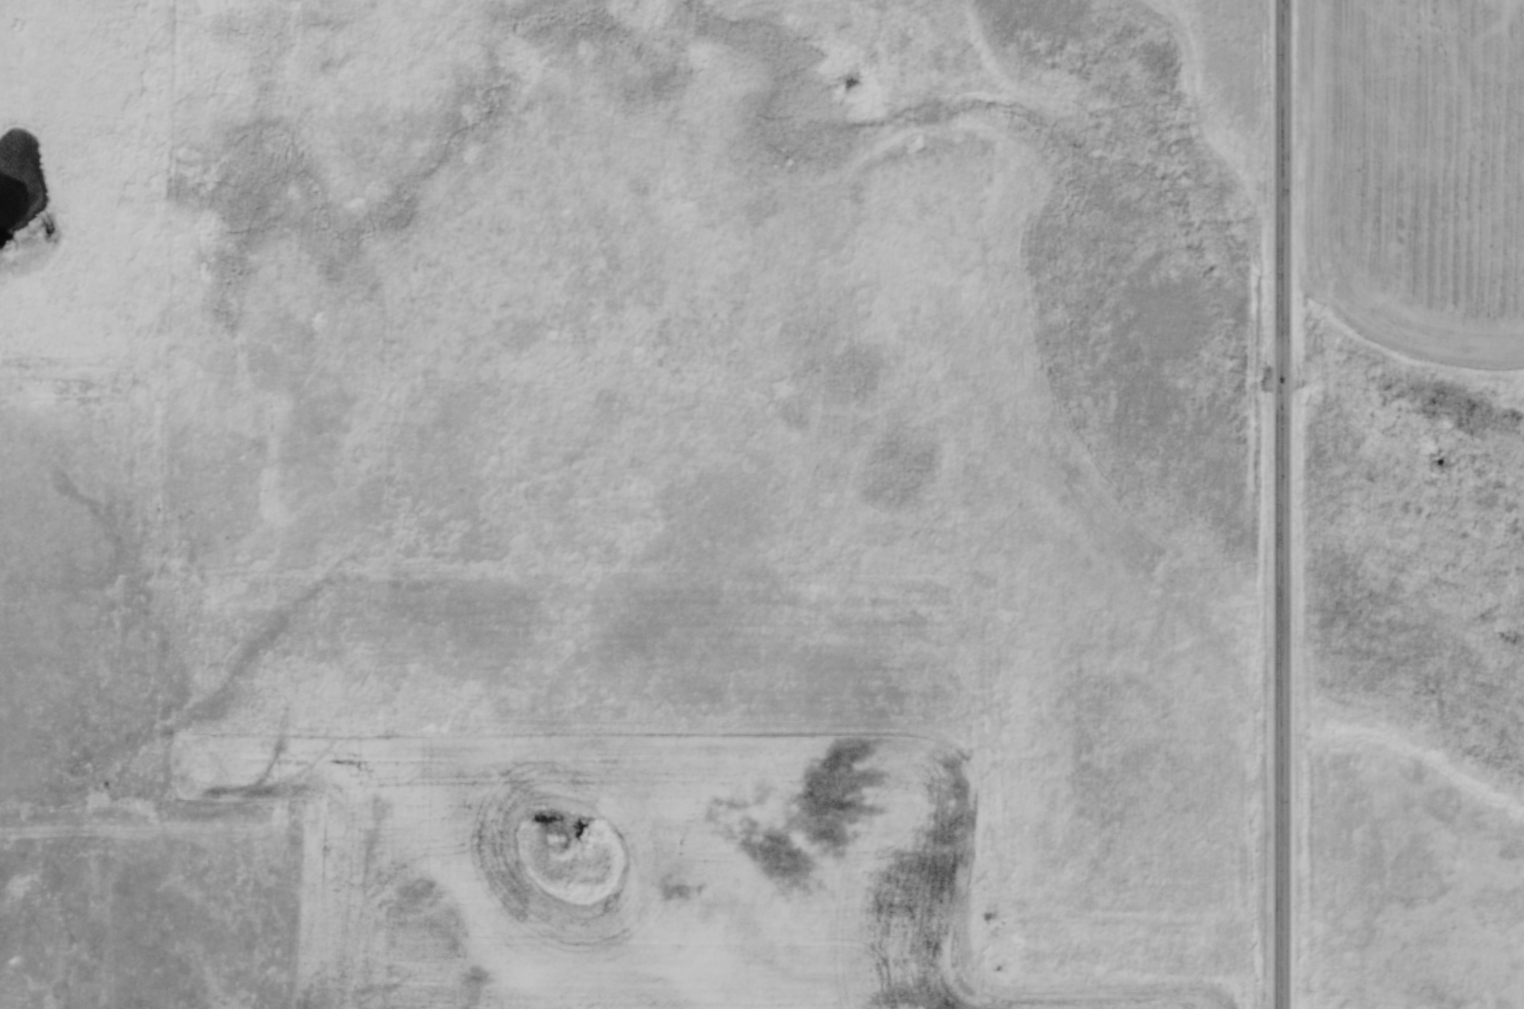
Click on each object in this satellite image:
road: (1280, 504)

